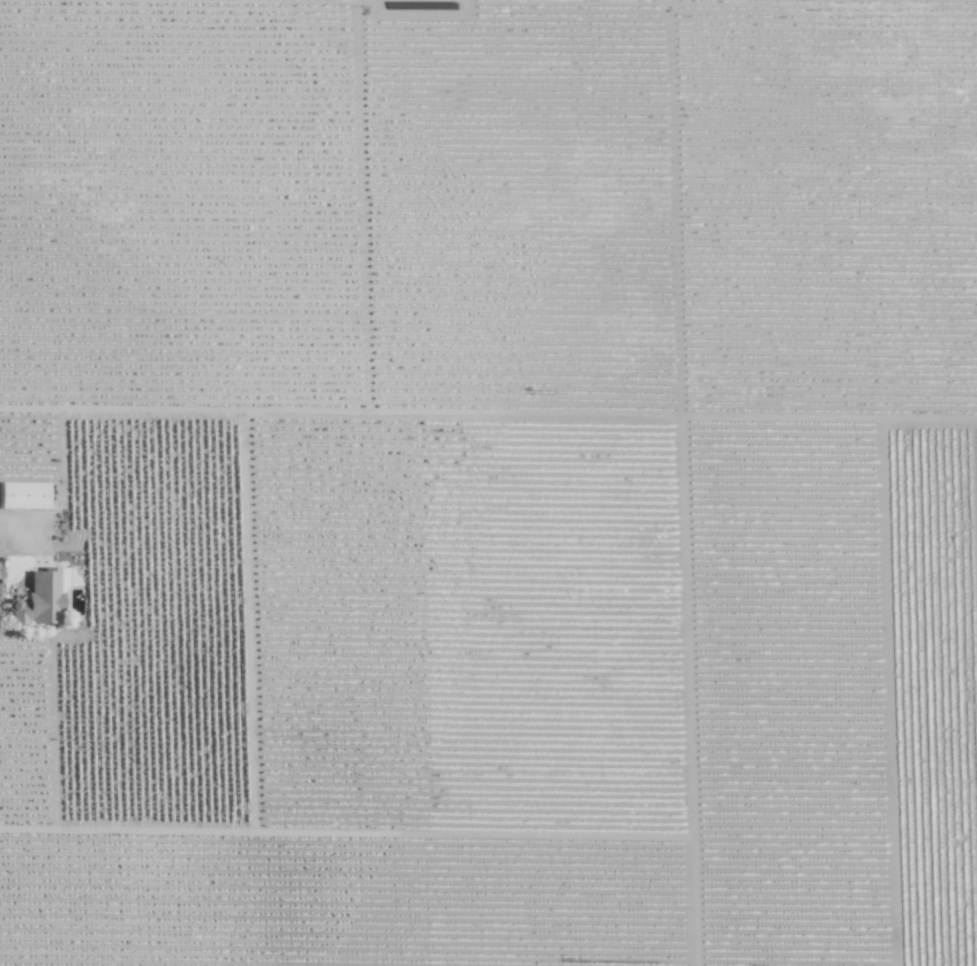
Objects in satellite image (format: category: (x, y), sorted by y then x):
building: (23, 495)
road: (28, 520)
building: (40, 598)

